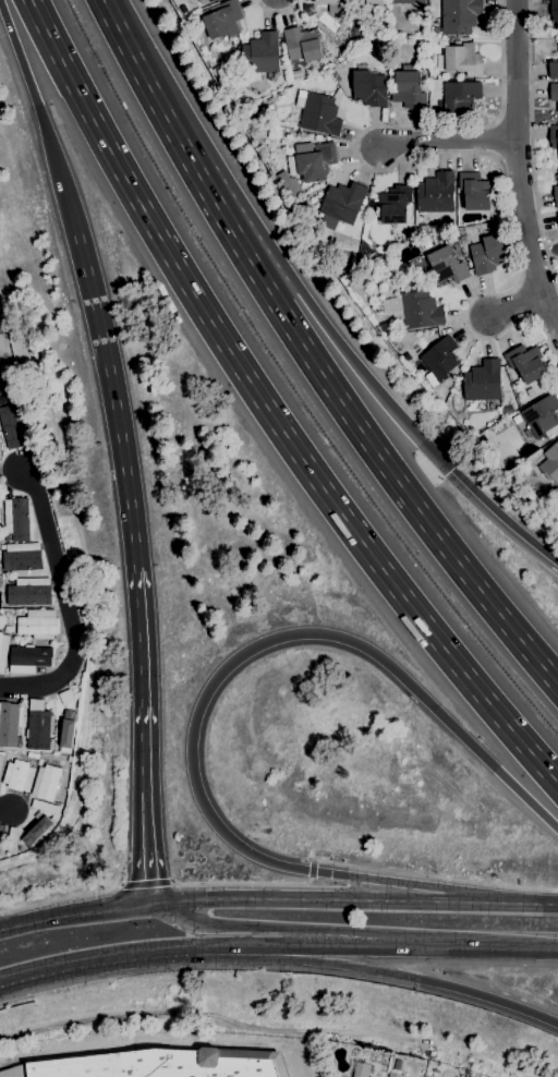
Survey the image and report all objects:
building: (209, 0)
building: (202, 1)
building: (327, 1)
building: (374, 1)
building: (408, 1)
road: (276, 11)
building: (554, 12)
building: (459, 15)
building: (221, 20)
building: (302, 44)
building: (260, 53)
building: (460, 59)
building: (553, 70)
road: (147, 86)
building: (369, 88)
building: (409, 89)
building: (554, 93)
building: (460, 96)
building: (318, 112)
road: (38, 119)
building: (554, 136)
road: (446, 138)
road: (530, 144)
road: (446, 152)
building: (315, 161)
road: (517, 165)
building: (293, 191)
building: (476, 191)
building: (556, 192)
building: (436, 193)
building: (341, 204)
building: (393, 204)
building: (557, 214)
building: (496, 216)
building: (557, 219)
road: (226, 223)
building: (487, 254)
building: (446, 265)
building: (417, 308)
road: (517, 308)
building: (1, 327)
building: (440, 358)
building: (525, 363)
road: (356, 366)
building: (481, 385)
building: (0, 392)
road: (114, 400)
road: (267, 410)
building: (543, 418)
building: (14, 426)
building: (486, 435)
building: (549, 462)
traffic signals: (450, 472)
road: (398, 488)
building: (16, 518)
road: (501, 522)
building: (7, 536)
building: (21, 556)
building: (10, 580)
building: (28, 591)
road: (65, 603)
building: (15, 612)
building: (38, 624)
building: (7, 629)
building: (2, 651)
building: (28, 658)
road: (143, 680)
road: (213, 682)
building: (65, 697)
building: (10, 723)
building: (38, 726)
building: (66, 730)
building: (59, 735)
building: (32, 755)
building: (1, 759)
building: (17, 775)
building: (46, 782)
building: (45, 806)
road: (5, 809)
building: (37, 828)
building: (1, 832)
building: (12, 840)
road: (146, 847)
building: (1, 851)
road: (312, 869)
road: (435, 874)
road: (311, 881)
road: (257, 883)
road: (146, 884)
road: (61, 897)
road: (315, 898)
traffic signals: (149, 901)
road: (520, 903)
road: (74, 912)
road: (207, 929)
road: (227, 947)
road: (264, 947)
road: (353, 947)
road: (497, 948)
road: (97, 958)
road: (410, 976)
road: (1, 980)
road: (1, 980)
building: (156, 1064)
building: (361, 1069)
building: (395, 1075)

